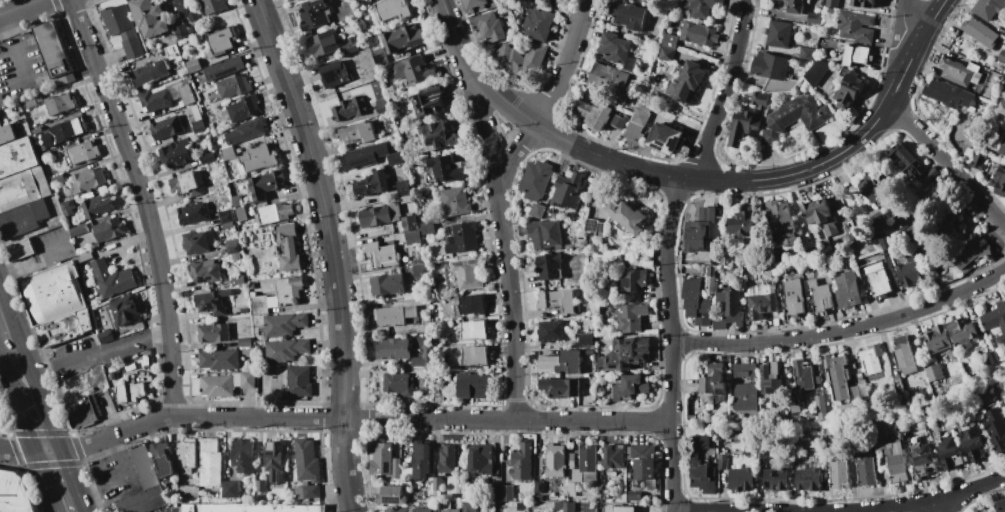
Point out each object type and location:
building: (295, 0)
building: (328, 1)
building: (864, 3)
building: (474, 4)
building: (832, 4)
building: (214, 6)
building: (794, 6)
road: (20, 7)
building: (702, 7)
building: (186, 9)
building: (395, 9)
building: (988, 9)
building: (314, 15)
building: (628, 15)
building: (149, 18)
building: (814, 19)
road: (904, 23)
building: (539, 25)
building: (488, 26)
building: (855, 26)
building: (123, 30)
building: (190, 30)
building: (181, 32)
building: (980, 33)
building: (699, 34)
building: (779, 34)
building: (200, 36)
building: (404, 39)
building: (1004, 39)
building: (222, 41)
building: (670, 42)
building: (323, 44)
building: (614, 48)
building: (348, 49)
building: (54, 50)
building: (379, 51)
building: (173, 53)
building: (806, 53)
road: (16, 54)
building: (666, 55)
building: (857, 56)
building: (1002, 57)
building: (380, 60)
building: (522, 61)
building: (179, 63)
building: (167, 64)
building: (194, 65)
building: (630, 65)
building: (770, 66)
building: (225, 68)
building: (677, 70)
building: (414, 71)
building: (957, 71)
building: (817, 72)
building: (149, 73)
building: (334, 74)
building: (976, 76)
building: (65, 79)
building: (983, 79)
building: (610, 82)
building: (687, 83)
building: (779, 85)
building: (234, 86)
building: (849, 90)
building: (1002, 93)
building: (411, 94)
building: (949, 94)
building: (187, 95)
building: (39, 99)
road: (549, 99)
building: (155, 100)
building: (428, 102)
building: (30, 103)
building: (61, 104)
building: (382, 104)
building: (644, 108)
building: (244, 109)
building: (349, 109)
building: (1001, 109)
building: (799, 113)
building: (595, 115)
building: (640, 117)
road: (874, 121)
building: (1004, 121)
building: (4, 122)
building: (620, 123)
building: (747, 123)
building: (0, 125)
building: (167, 128)
building: (199, 128)
building: (68, 130)
building: (38, 131)
building: (247, 131)
building: (634, 132)
building: (357, 133)
building: (7, 134)
building: (437, 136)
building: (770, 137)
building: (48, 139)
building: (666, 139)
road: (565, 141)
building: (42, 148)
building: (1003, 149)
building: (969, 152)
building: (81, 153)
building: (228, 153)
building: (176, 154)
building: (46, 155)
building: (365, 156)
building: (17, 157)
building: (207, 158)
building: (258, 158)
building: (394, 158)
building: (908, 161)
building: (978, 161)
road: (947, 163)
building: (446, 168)
building: (569, 168)
building: (387, 170)
building: (932, 174)
building: (59, 180)
building: (88, 180)
building: (536, 180)
building: (999, 181)
building: (188, 184)
building: (371, 184)
building: (266, 185)
building: (873, 187)
building: (403, 188)
building: (23, 189)
building: (569, 192)
building: (406, 199)
building: (237, 201)
building: (455, 202)
road: (144, 205)
building: (67, 207)
building: (97, 207)
building: (536, 210)
building: (194, 212)
building: (275, 213)
building: (241, 214)
building: (381, 214)
building: (708, 214)
building: (226, 216)
building: (820, 216)
building: (627, 217)
building: (23, 219)
building: (410, 223)
building: (947, 223)
building: (782, 224)
building: (592, 225)
building: (743, 225)
building: (958, 225)
building: (228, 226)
building: (427, 228)
building: (601, 229)
building: (79, 230)
building: (110, 230)
building: (267, 232)
building: (546, 234)
building: (698, 236)
building: (211, 237)
building: (221, 237)
building: (413, 237)
building: (463, 239)
building: (871, 240)
building: (883, 242)
building: (196, 243)
building: (112, 246)
building: (232, 247)
building: (289, 247)
road: (503, 249)
building: (642, 249)
road: (667, 249)
building: (20, 250)
road: (333, 250)
building: (78, 252)
building: (972, 253)
building: (777, 255)
building: (84, 256)
building: (236, 256)
building: (384, 256)
road: (33, 260)
building: (418, 262)
building: (550, 267)
building: (205, 271)
building: (419, 271)
building: (834, 272)
building: (911, 272)
building: (469, 273)
building: (712, 275)
building: (877, 277)
building: (112, 279)
building: (238, 280)
building: (634, 280)
building: (811, 284)
building: (387, 285)
building: (252, 286)
building: (290, 289)
building: (760, 290)
building: (847, 290)
building: (52, 294)
building: (691, 296)
building: (793, 298)
building: (822, 299)
building: (557, 301)
building: (213, 302)
building: (273, 302)
building: (261, 305)
building: (471, 305)
building: (761, 306)
building: (728, 310)
building: (126, 311)
building: (244, 311)
building: (703, 313)
building: (394, 315)
building: (603, 317)
building: (630, 317)
building: (996, 321)
building: (285, 324)
building: (65, 328)
building: (475, 331)
road: (843, 331)
building: (551, 332)
building: (214, 333)
building: (962, 333)
road: (7, 334)
building: (106, 337)
building: (585, 340)
building: (938, 340)
road: (17, 341)
building: (244, 342)
building: (393, 349)
building: (286, 350)
building: (247, 351)
road: (88, 352)
building: (589, 352)
building: (625, 354)
building: (904, 356)
building: (474, 357)
building: (424, 358)
building: (993, 358)
building: (872, 359)
building: (219, 360)
building: (562, 362)
building: (744, 370)
building: (934, 373)
building: (112, 375)
building: (837, 375)
building: (803, 376)
road: (6, 378)
building: (148, 378)
building: (771, 378)
building: (237, 379)
building: (249, 379)
building: (714, 380)
building: (299, 382)
building: (817, 382)
building: (399, 384)
building: (473, 385)
building: (82, 386)
building: (217, 386)
building: (898, 386)
building: (588, 387)
building: (630, 387)
building: (560, 388)
building: (863, 392)
building: (130, 393)
building: (802, 394)
building: (855, 394)
building: (793, 396)
building: (983, 397)
building: (745, 398)
building: (902, 400)
building: (959, 403)
building: (821, 407)
building: (83, 411)
building: (795, 417)
road: (46, 418)
building: (693, 418)
road: (333, 420)
road: (22, 422)
building: (995, 426)
building: (881, 432)
building: (828, 442)
building: (209, 445)
building: (974, 445)
building: (698, 446)
building: (794, 449)
building: (948, 451)
building: (187, 455)
building: (242, 456)
building: (164, 458)
building: (614, 458)
building: (448, 459)
building: (481, 459)
building: (421, 460)
building: (589, 460)
building: (274, 461)
building: (307, 461)
building: (385, 461)
building: (556, 461)
building: (572, 461)
building: (924, 461)
building: (522, 462)
building: (642, 462)
building: (723, 462)
building: (896, 463)
road: (118, 465)
building: (146, 467)
building: (211, 469)
building: (867, 472)
building: (839, 474)
building: (577, 476)
building: (703, 477)
building: (808, 478)
road: (71, 479)
building: (776, 479)
building: (742, 480)
road: (45, 481)
building: (526, 483)
building: (437, 484)
building: (261, 486)
building: (605, 487)
building: (539, 488)
building: (572, 489)
building: (230, 490)
building: (461, 490)
building: (188, 492)
building: (311, 492)
building: (14, 493)
building: (494, 493)
building: (507, 494)
building: (467, 495)
building: (392, 496)
building: (635, 497)
building: (539, 498)
building: (622, 499)
building: (143, 501)
building: (428, 505)
building: (1001, 505)
building: (510, 506)
building: (559, 506)
road: (931, 506)
building: (470, 507)
building: (569, 507)
building: (253, 508)
building: (625, 509)
building: (412, 510)
road: (84, 511)
road: (843, 511)

